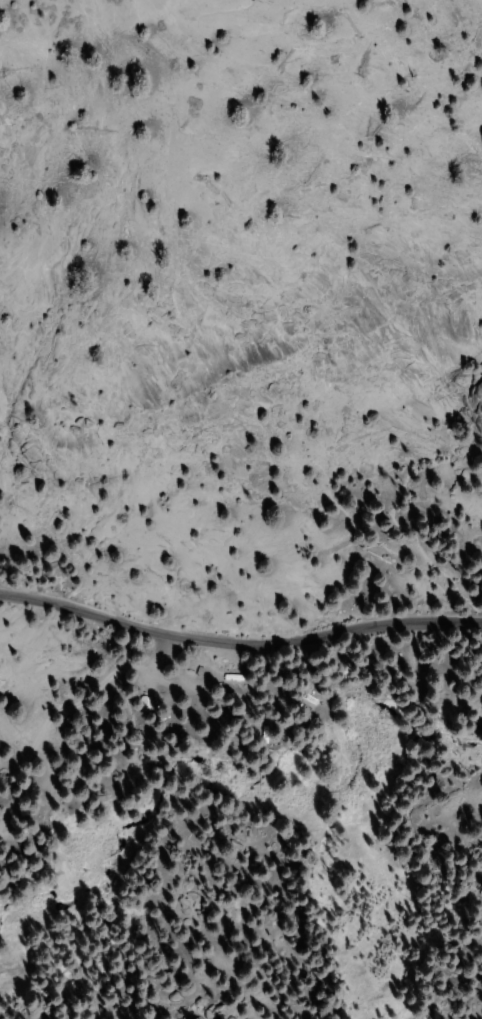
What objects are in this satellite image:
road: (238, 641)
road: (194, 682)

